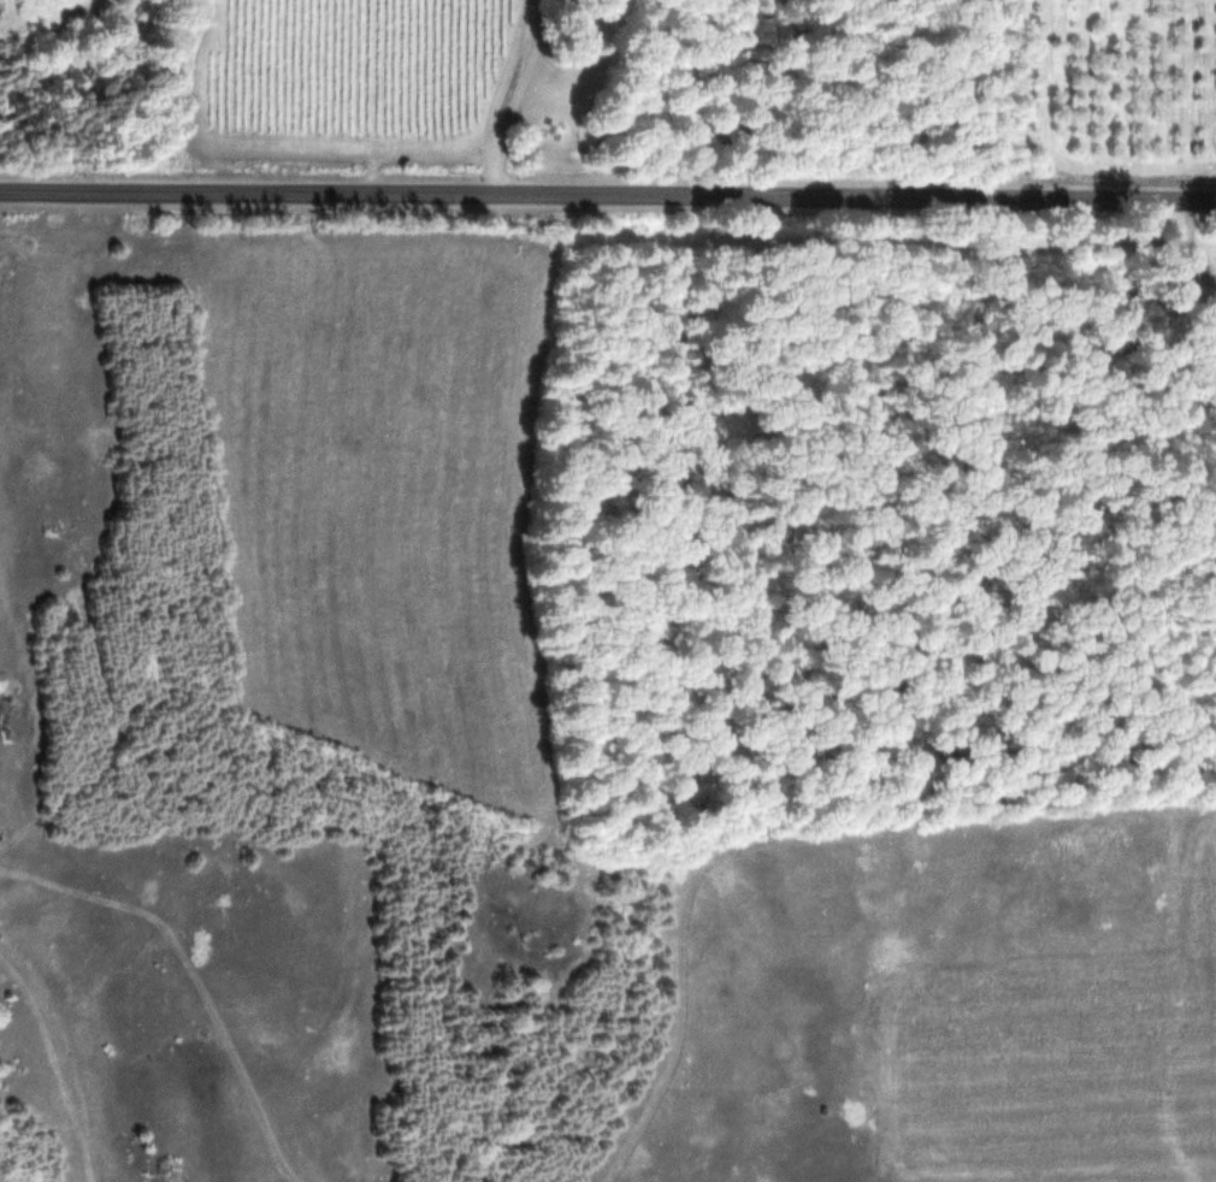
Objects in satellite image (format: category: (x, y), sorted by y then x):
road: (516, 95)
road: (607, 195)

